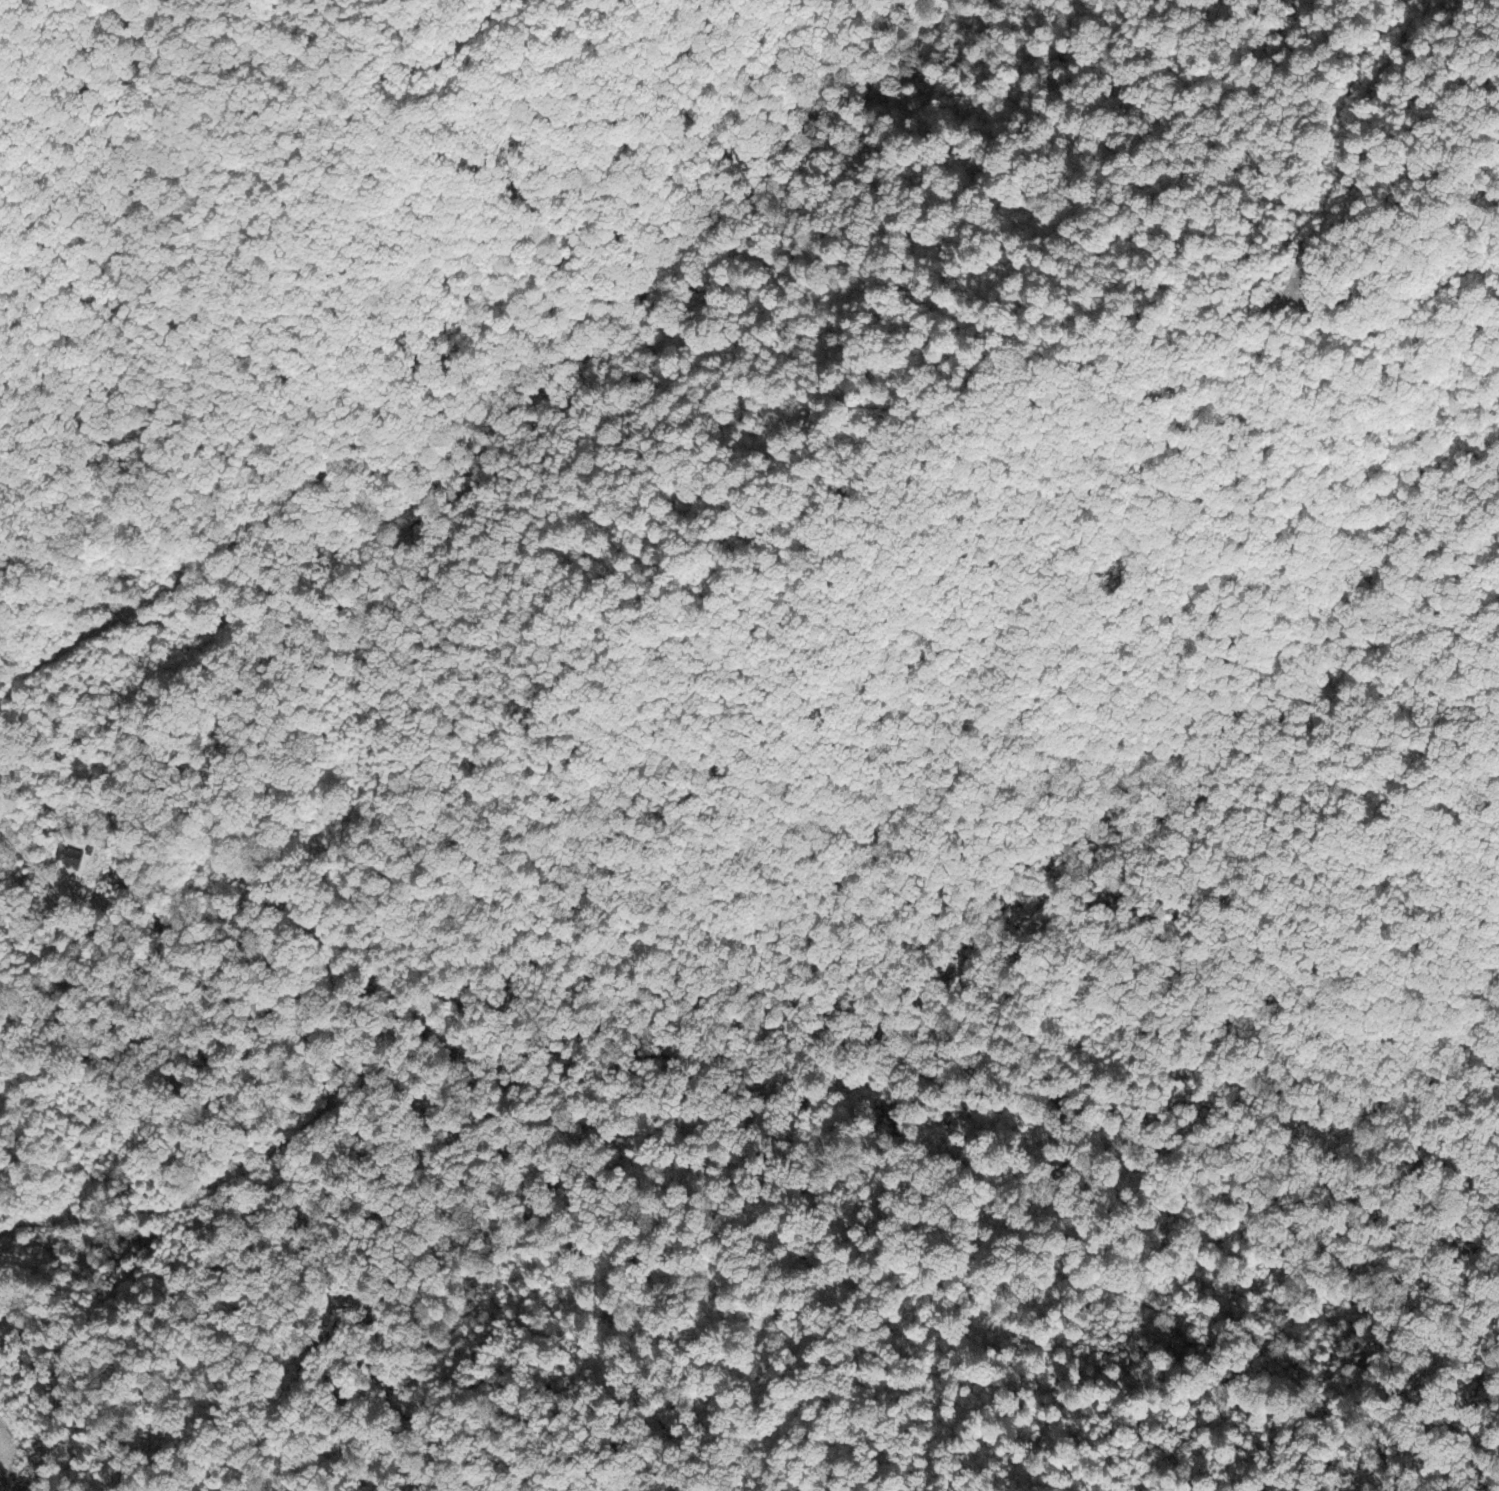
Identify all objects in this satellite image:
road: (541, 333)
road: (375, 374)
road: (744, 923)
road: (307, 1040)

